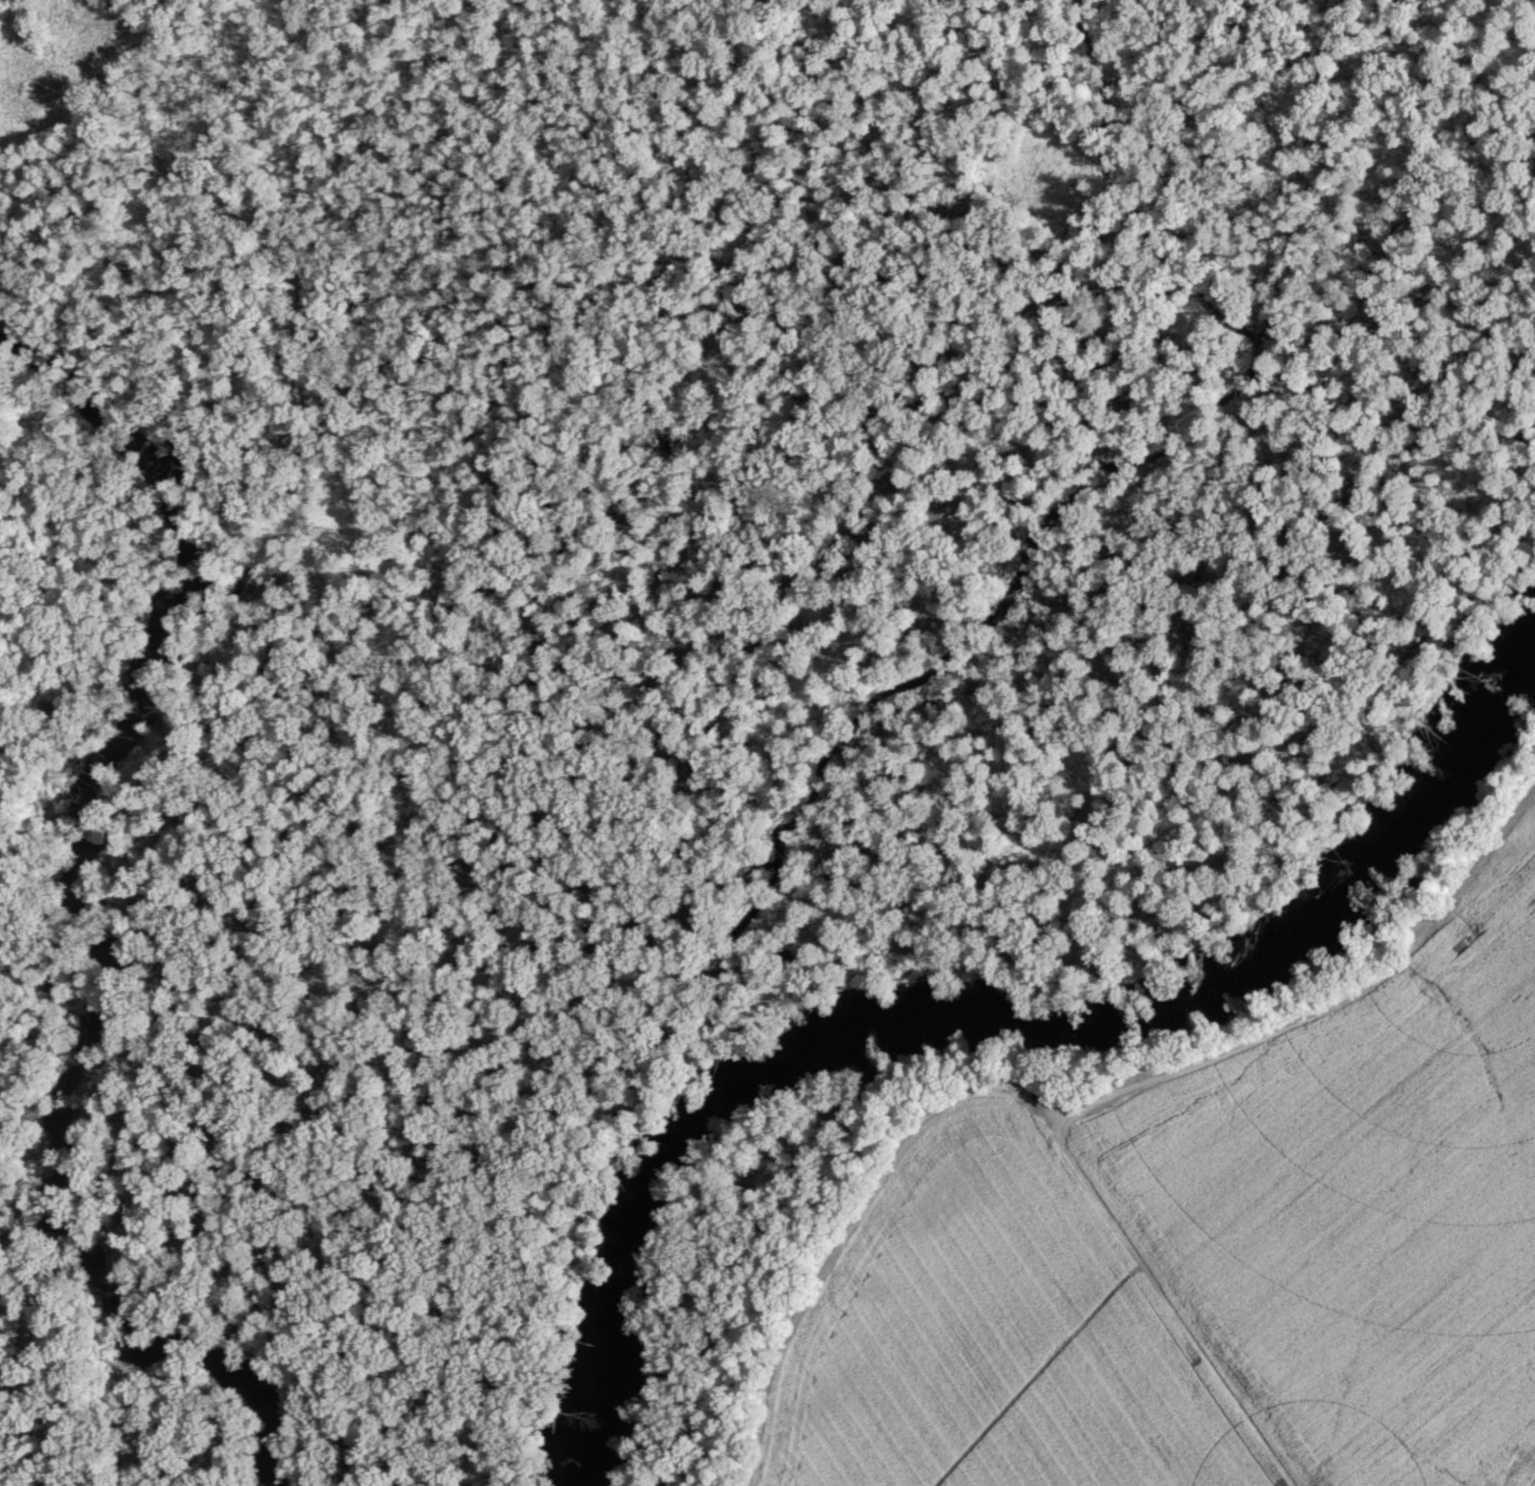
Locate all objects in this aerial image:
river: (983, 1012)

